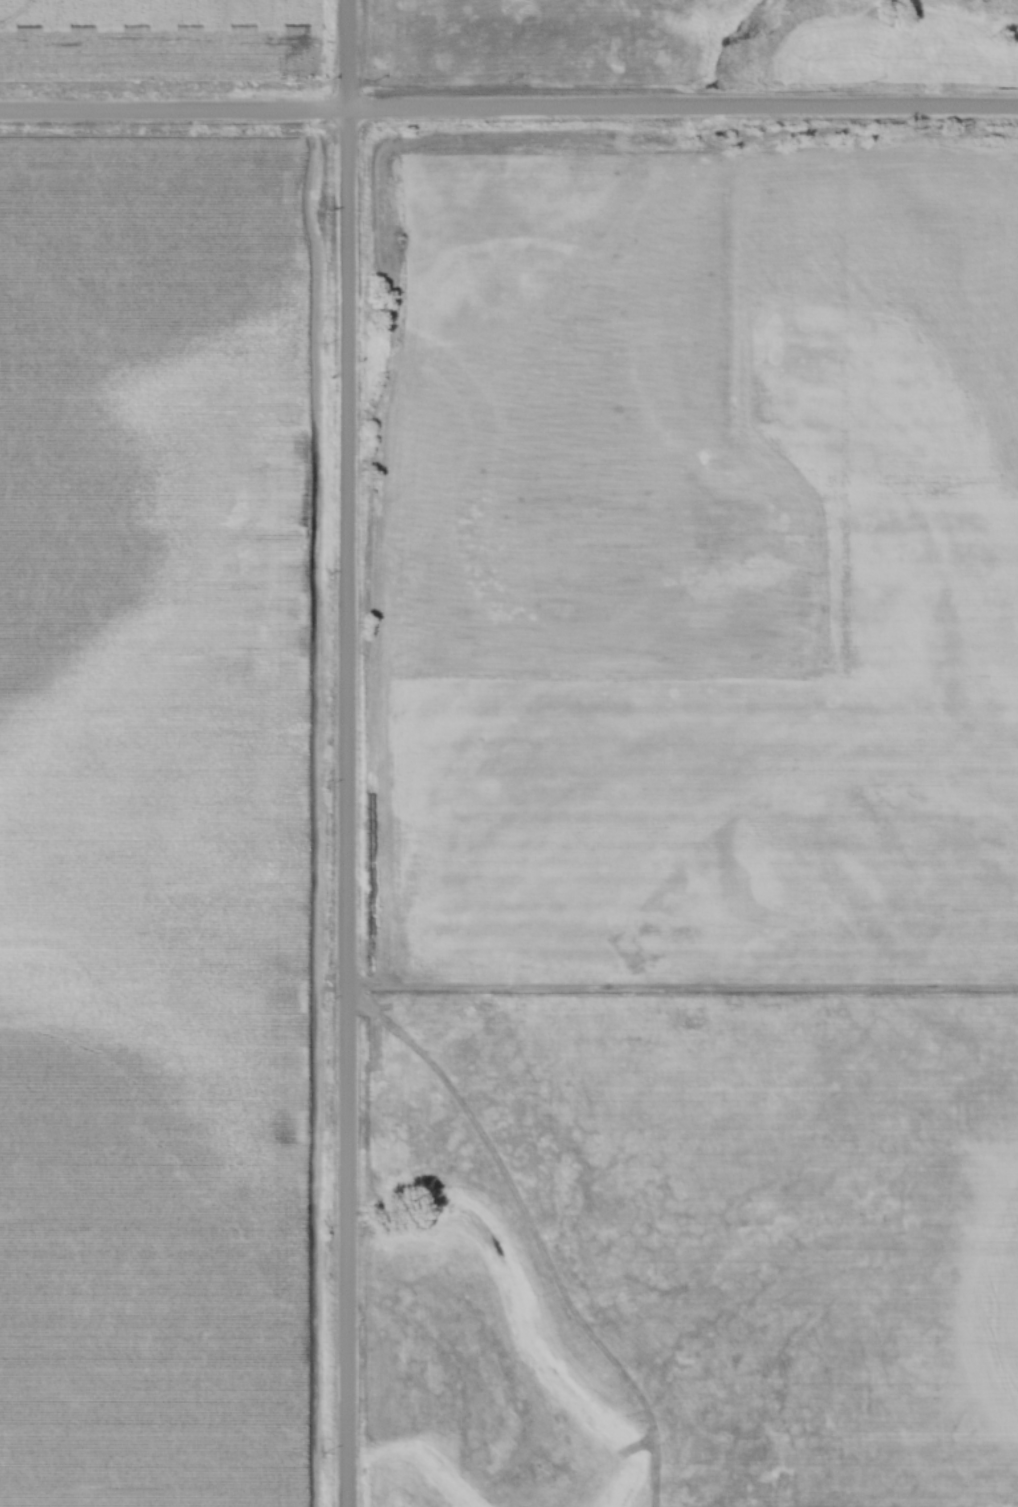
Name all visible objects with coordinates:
road: (508, 112)
road: (340, 753)

